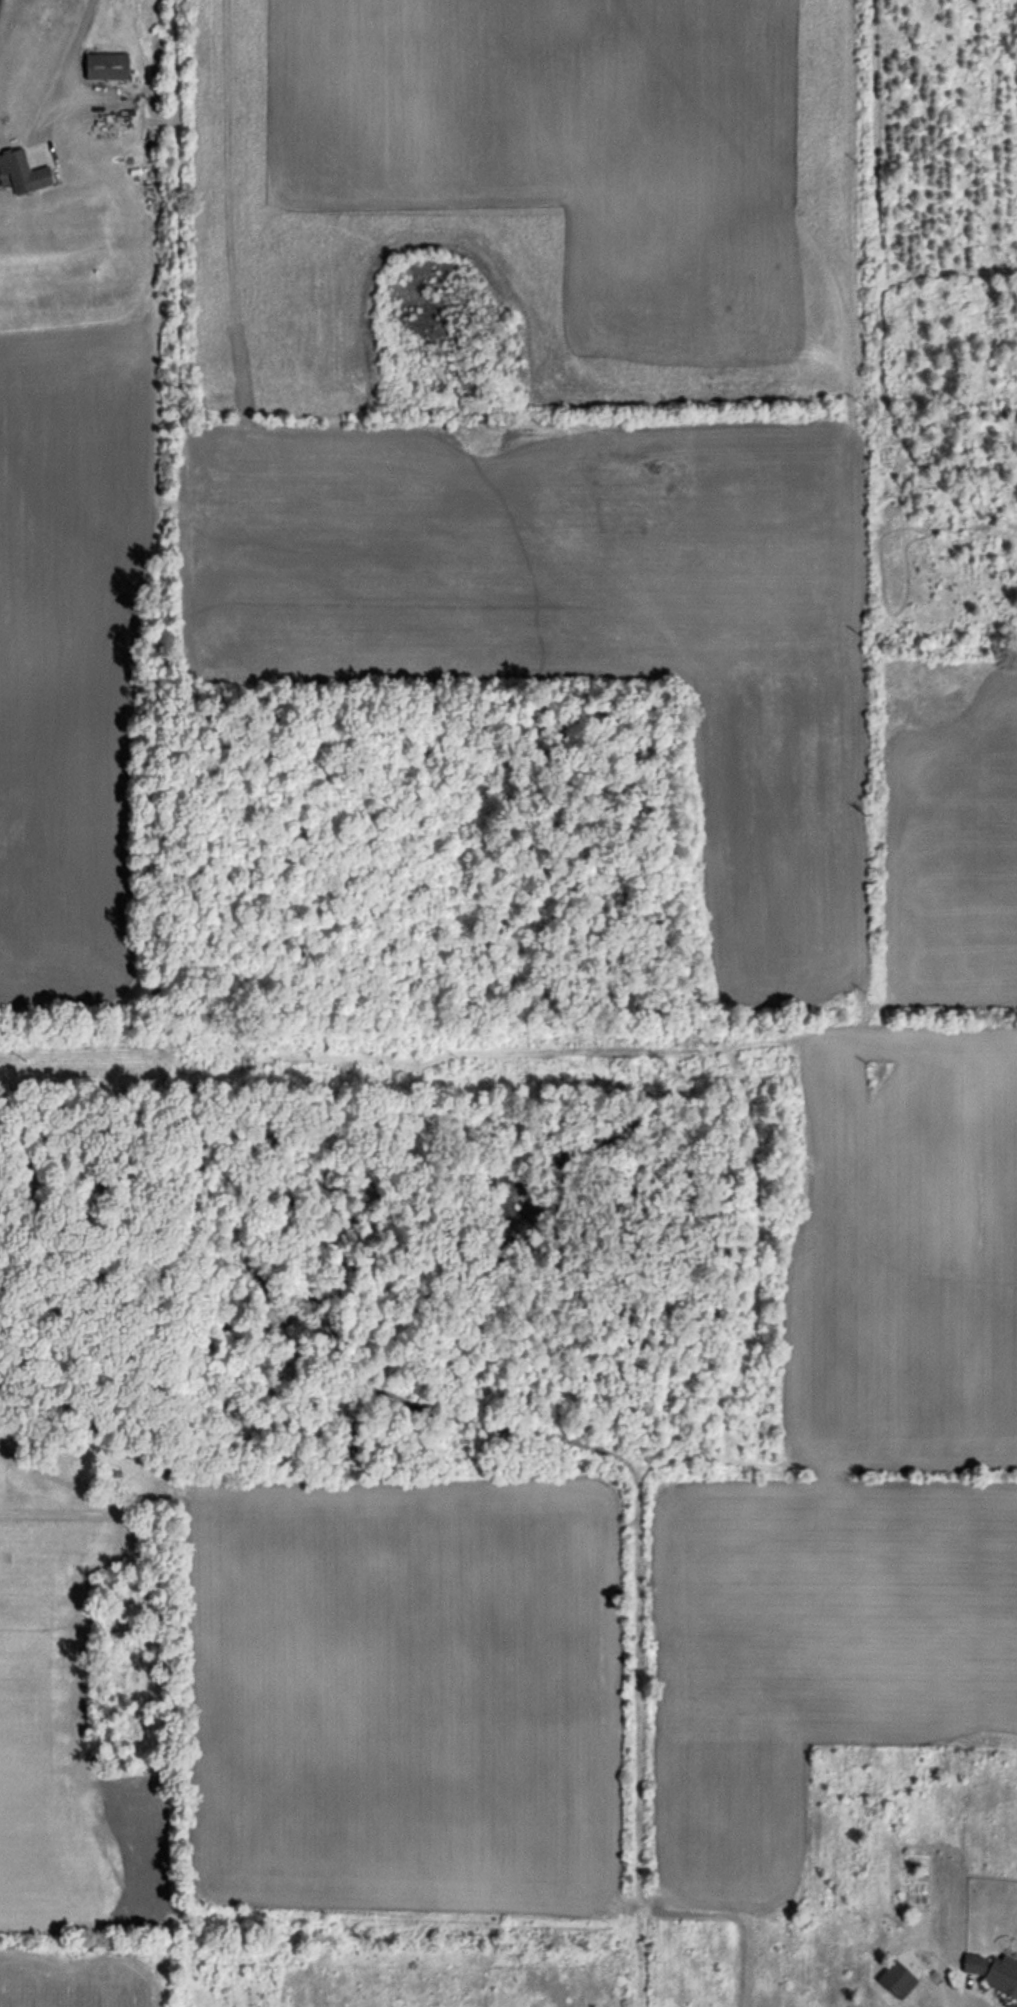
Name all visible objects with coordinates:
road: (75, 42)
building: (107, 65)
building: (22, 171)
building: (987, 1968)

